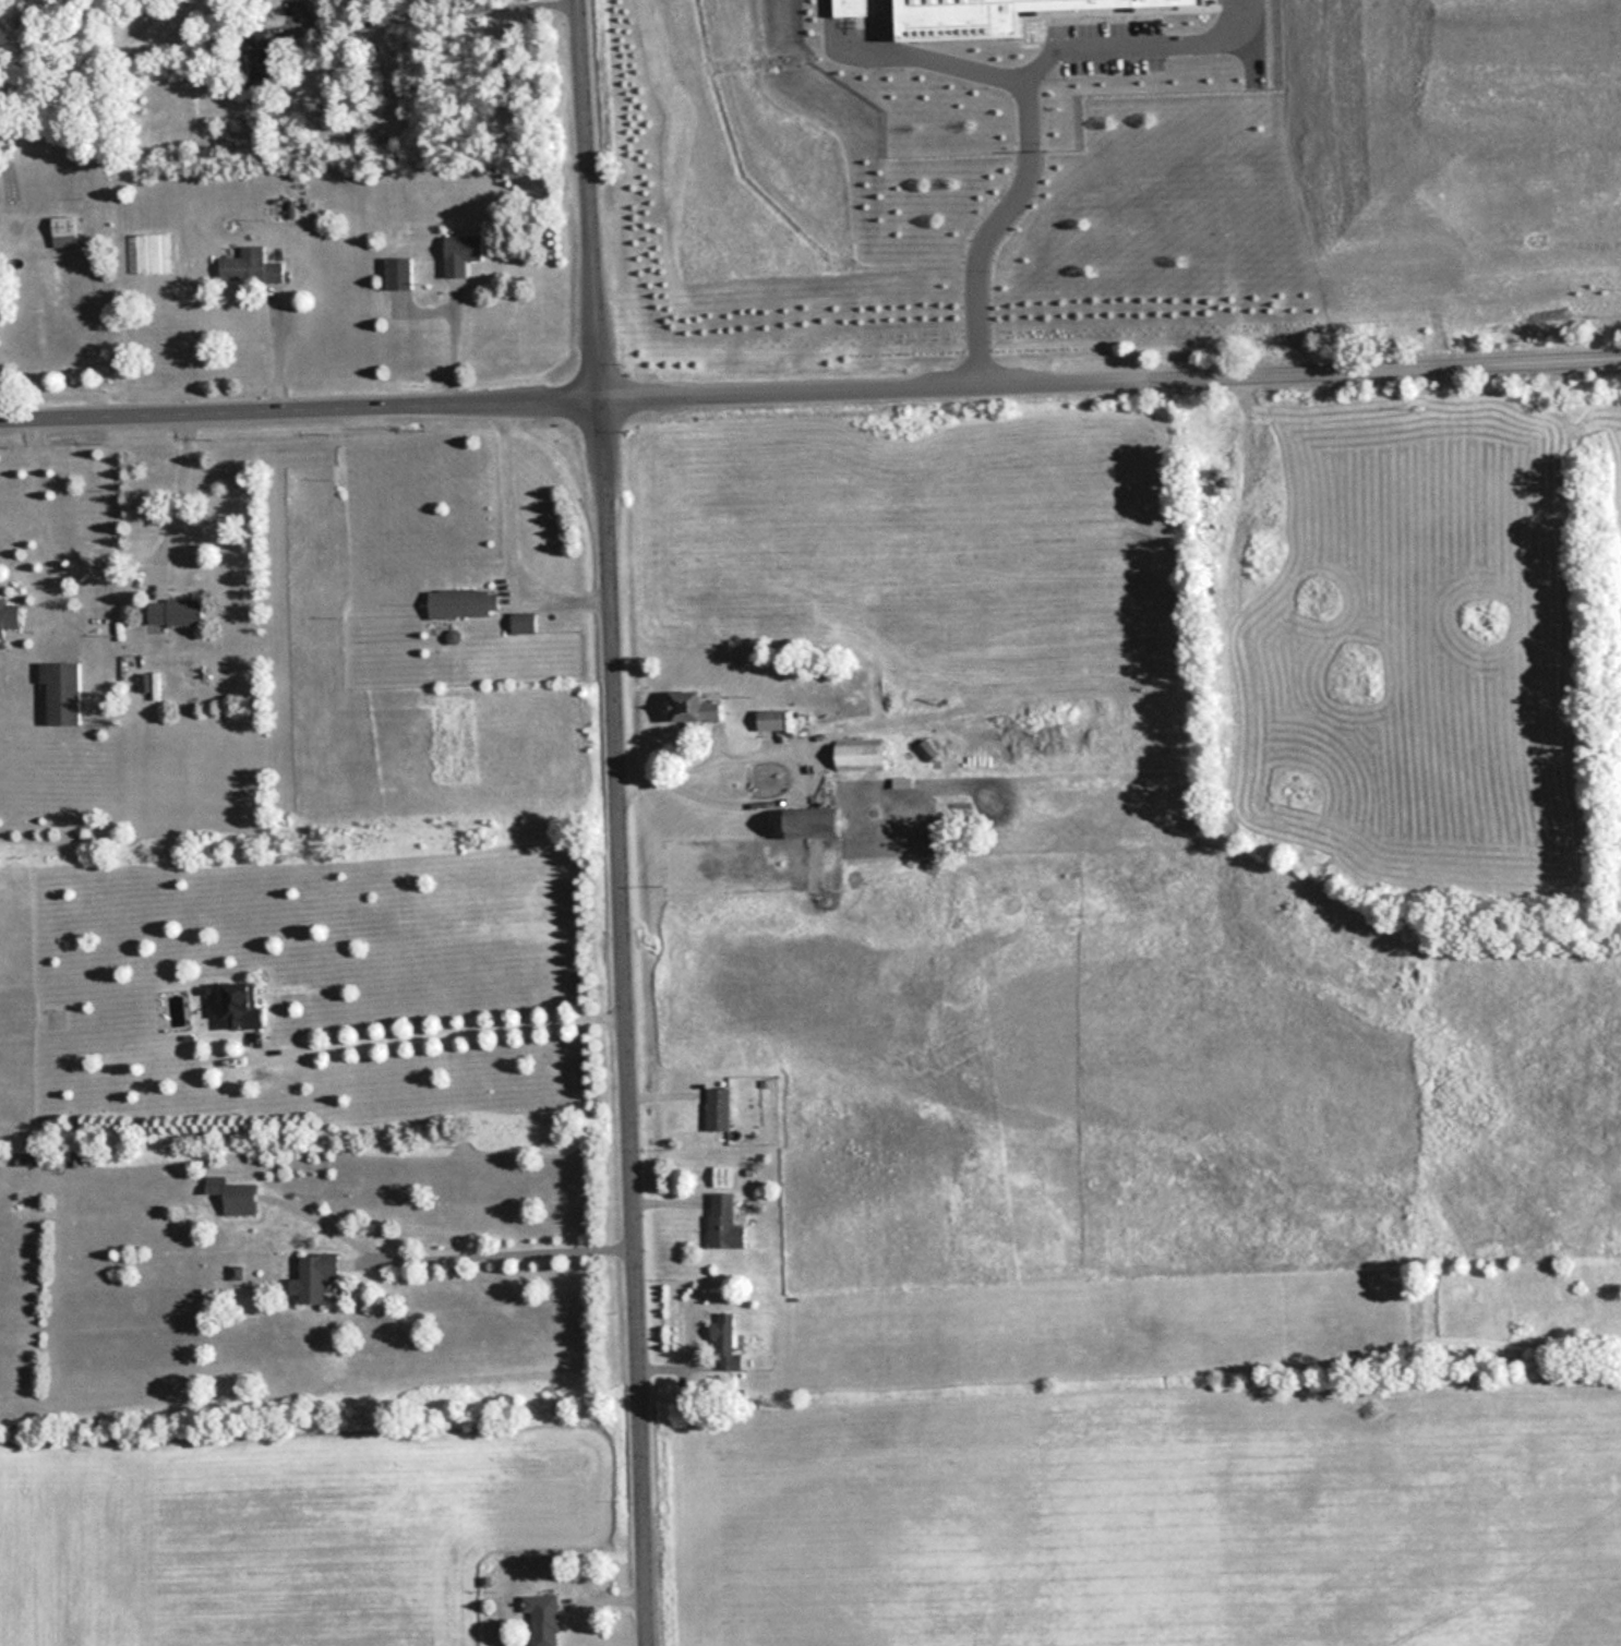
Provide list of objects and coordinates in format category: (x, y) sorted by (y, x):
road: (441, 12)
building: (259, 64)
wastewater plant: (1106, 166)
road: (589, 195)
building: (1235, 202)
building: (722, 220)
building: (63, 232)
building: (460, 253)
building: (1178, 262)
building: (249, 266)
building: (995, 290)
building: (1321, 291)
building: (1405, 295)
building: (1137, 309)
building: (754, 316)
road: (1110, 369)
road: (300, 404)
road: (171, 496)
road: (38, 529)
building: (461, 604)
building: (173, 612)
building: (8, 617)
building: (523, 624)
building: (61, 693)
building: (693, 709)
building: (771, 721)
building: (816, 826)
building: (242, 1007)
road: (627, 1018)
road: (444, 1020)
building: (718, 1108)
building: (25, 1158)
building: (722, 1176)
building: (232, 1196)
building: (724, 1222)
road: (451, 1243)
building: (315, 1276)
building: (723, 1341)
building: (544, 1619)

